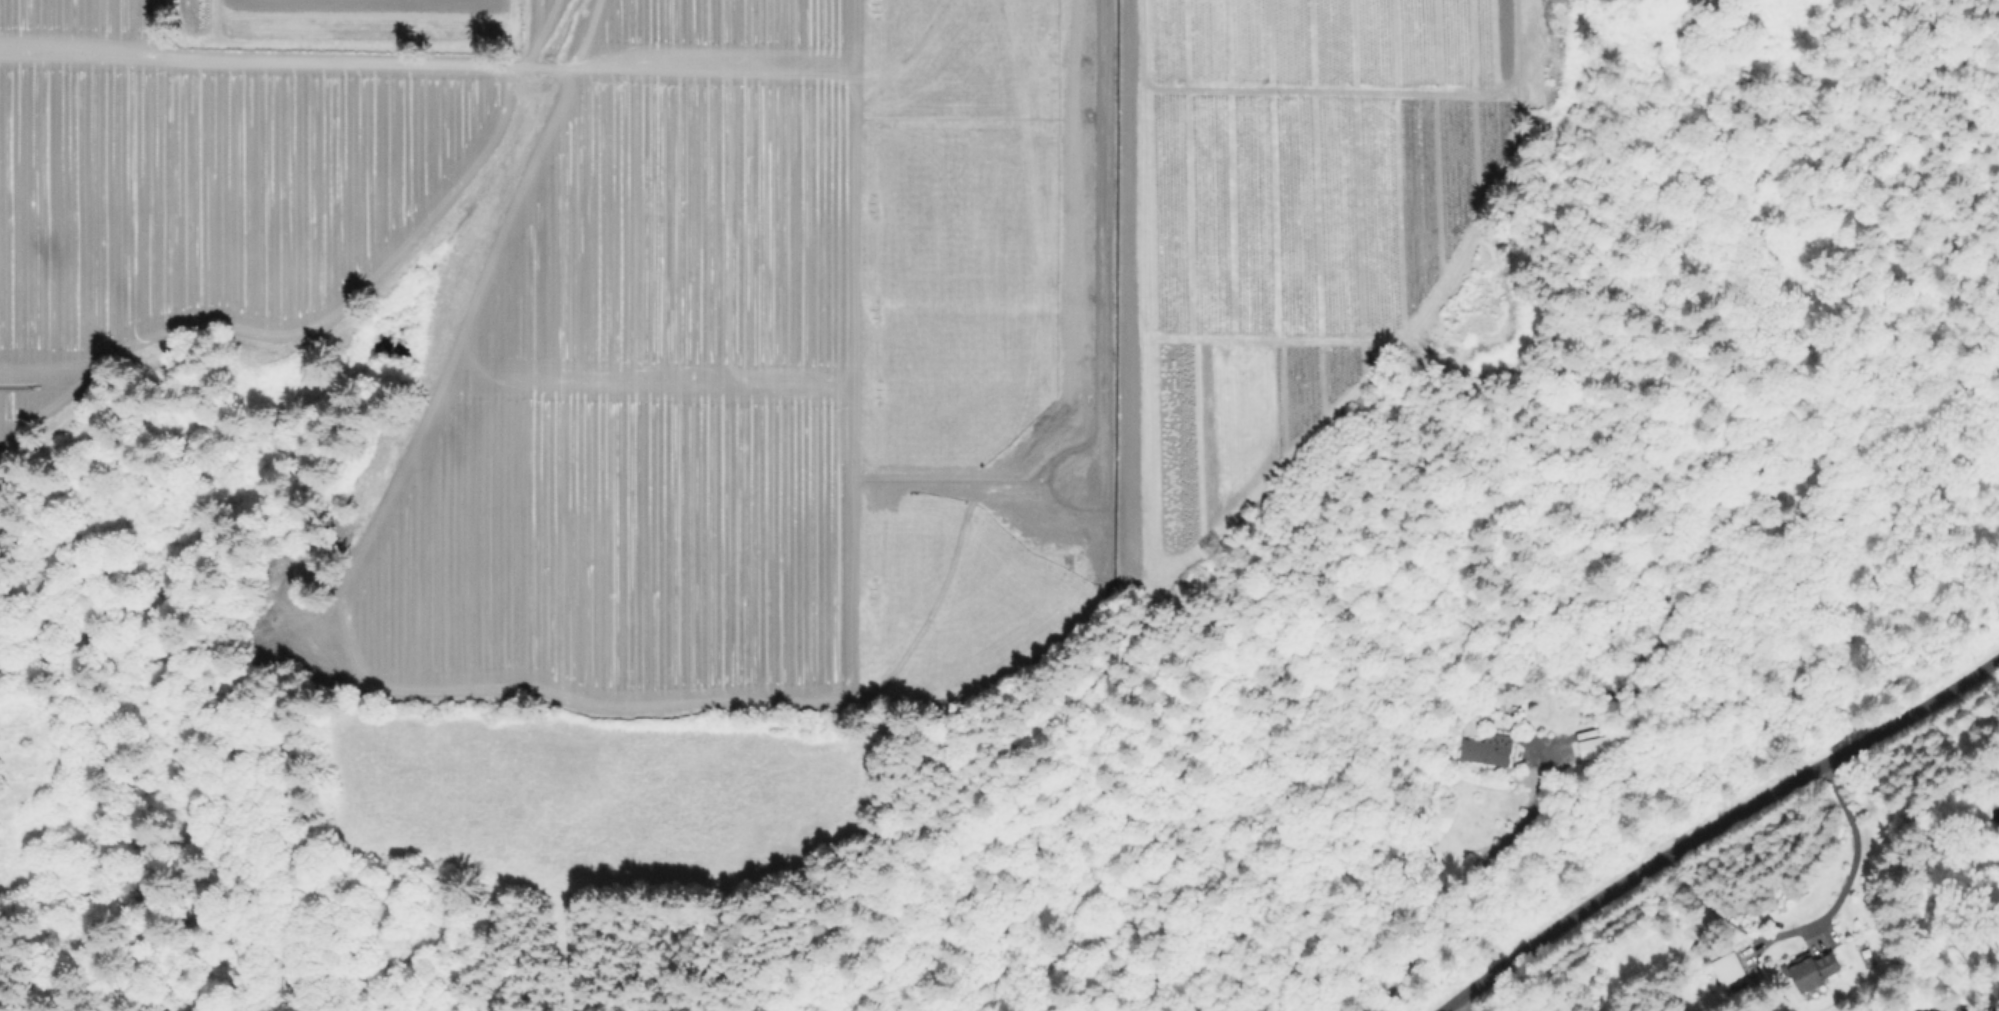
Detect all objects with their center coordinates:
road: (1097, 245)
building: (993, 562)
building: (1595, 749)
building: (1490, 751)
road: (1714, 825)
road: (1853, 848)
building: (1699, 967)
building: (1730, 969)
building: (1812, 970)

